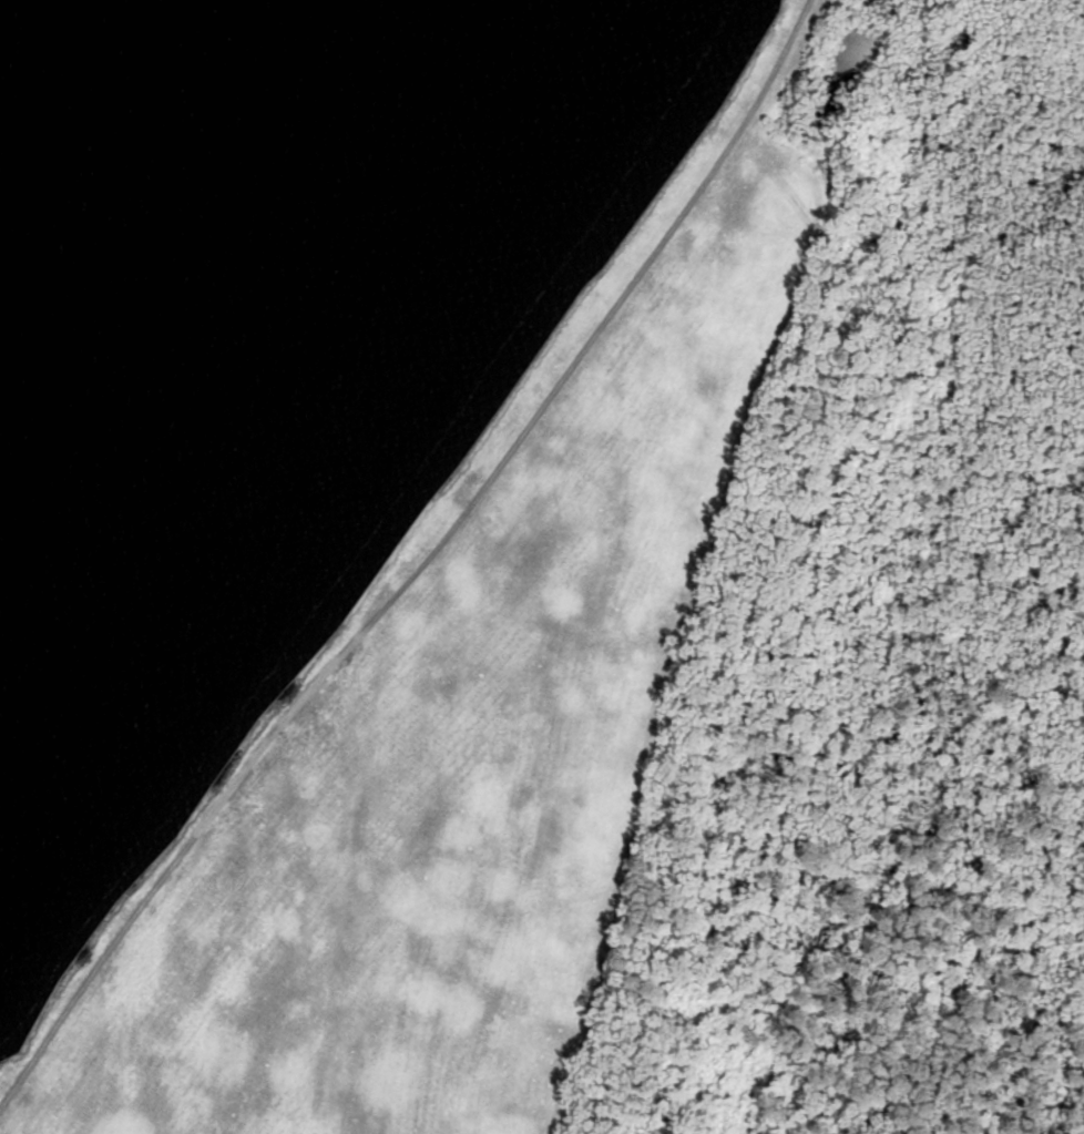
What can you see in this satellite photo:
road: (570, 369)
road: (704, 589)
road: (175, 858)

